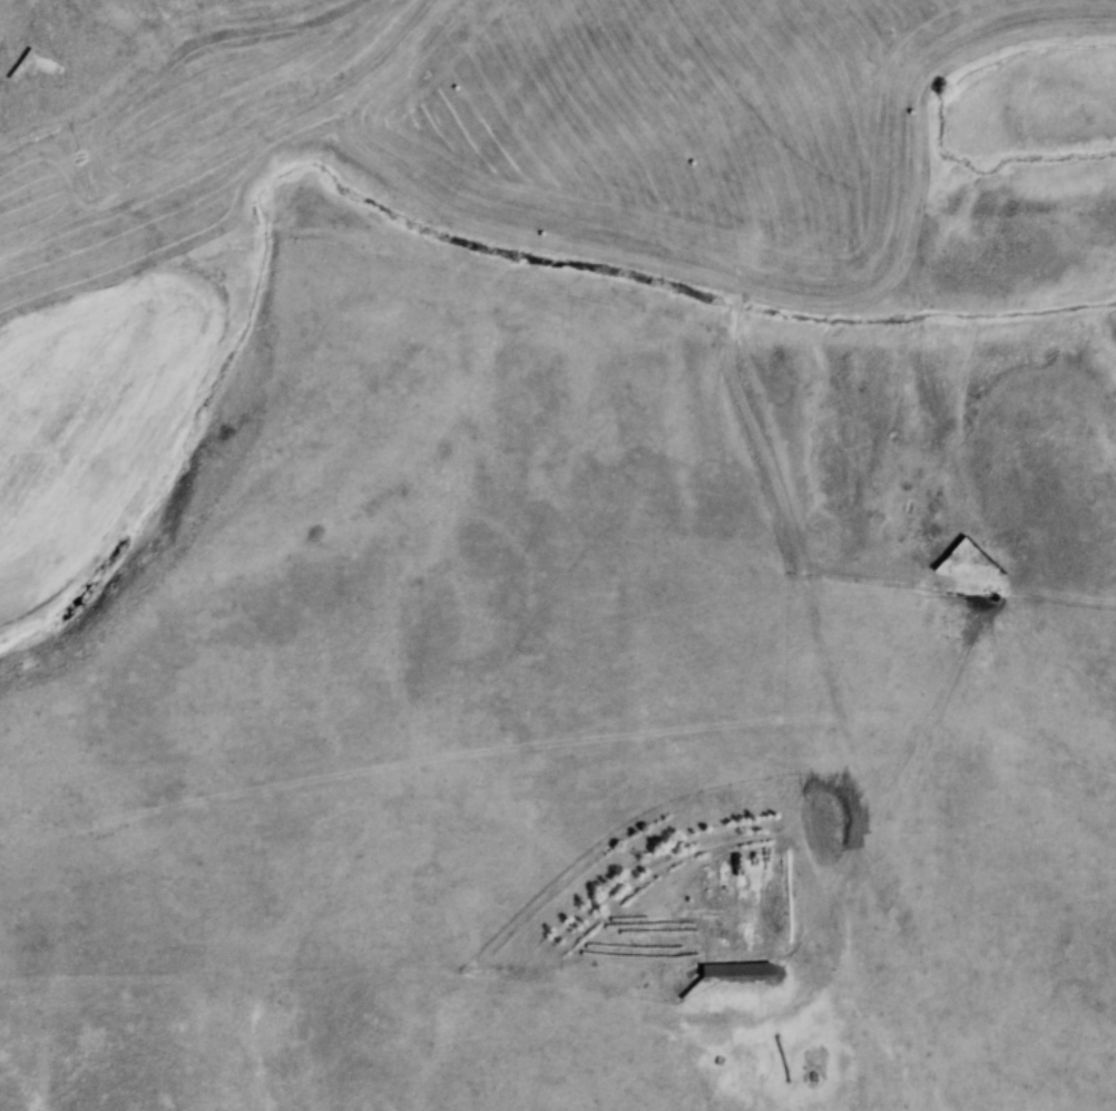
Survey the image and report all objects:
building: (735, 977)

